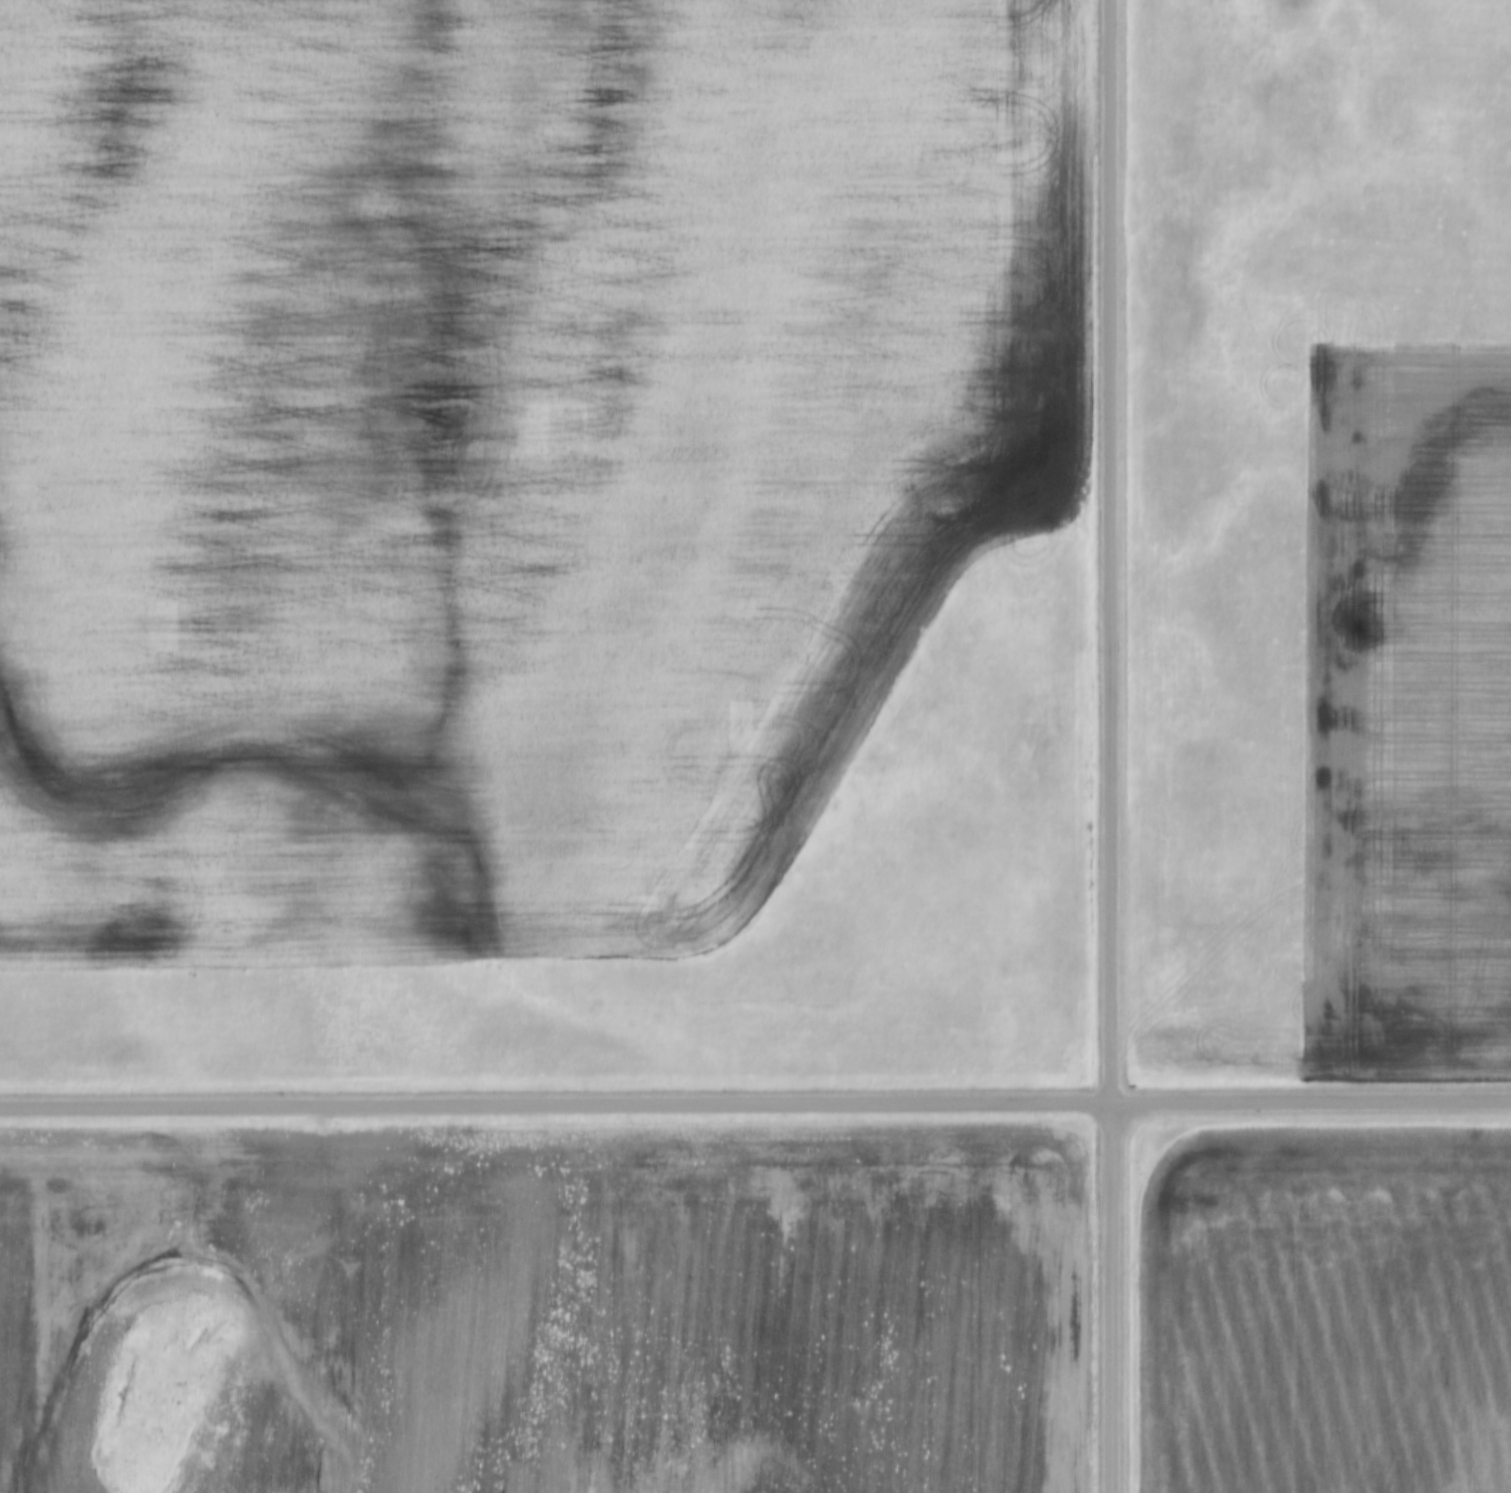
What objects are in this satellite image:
road: (1114, 746)
road: (755, 1103)

